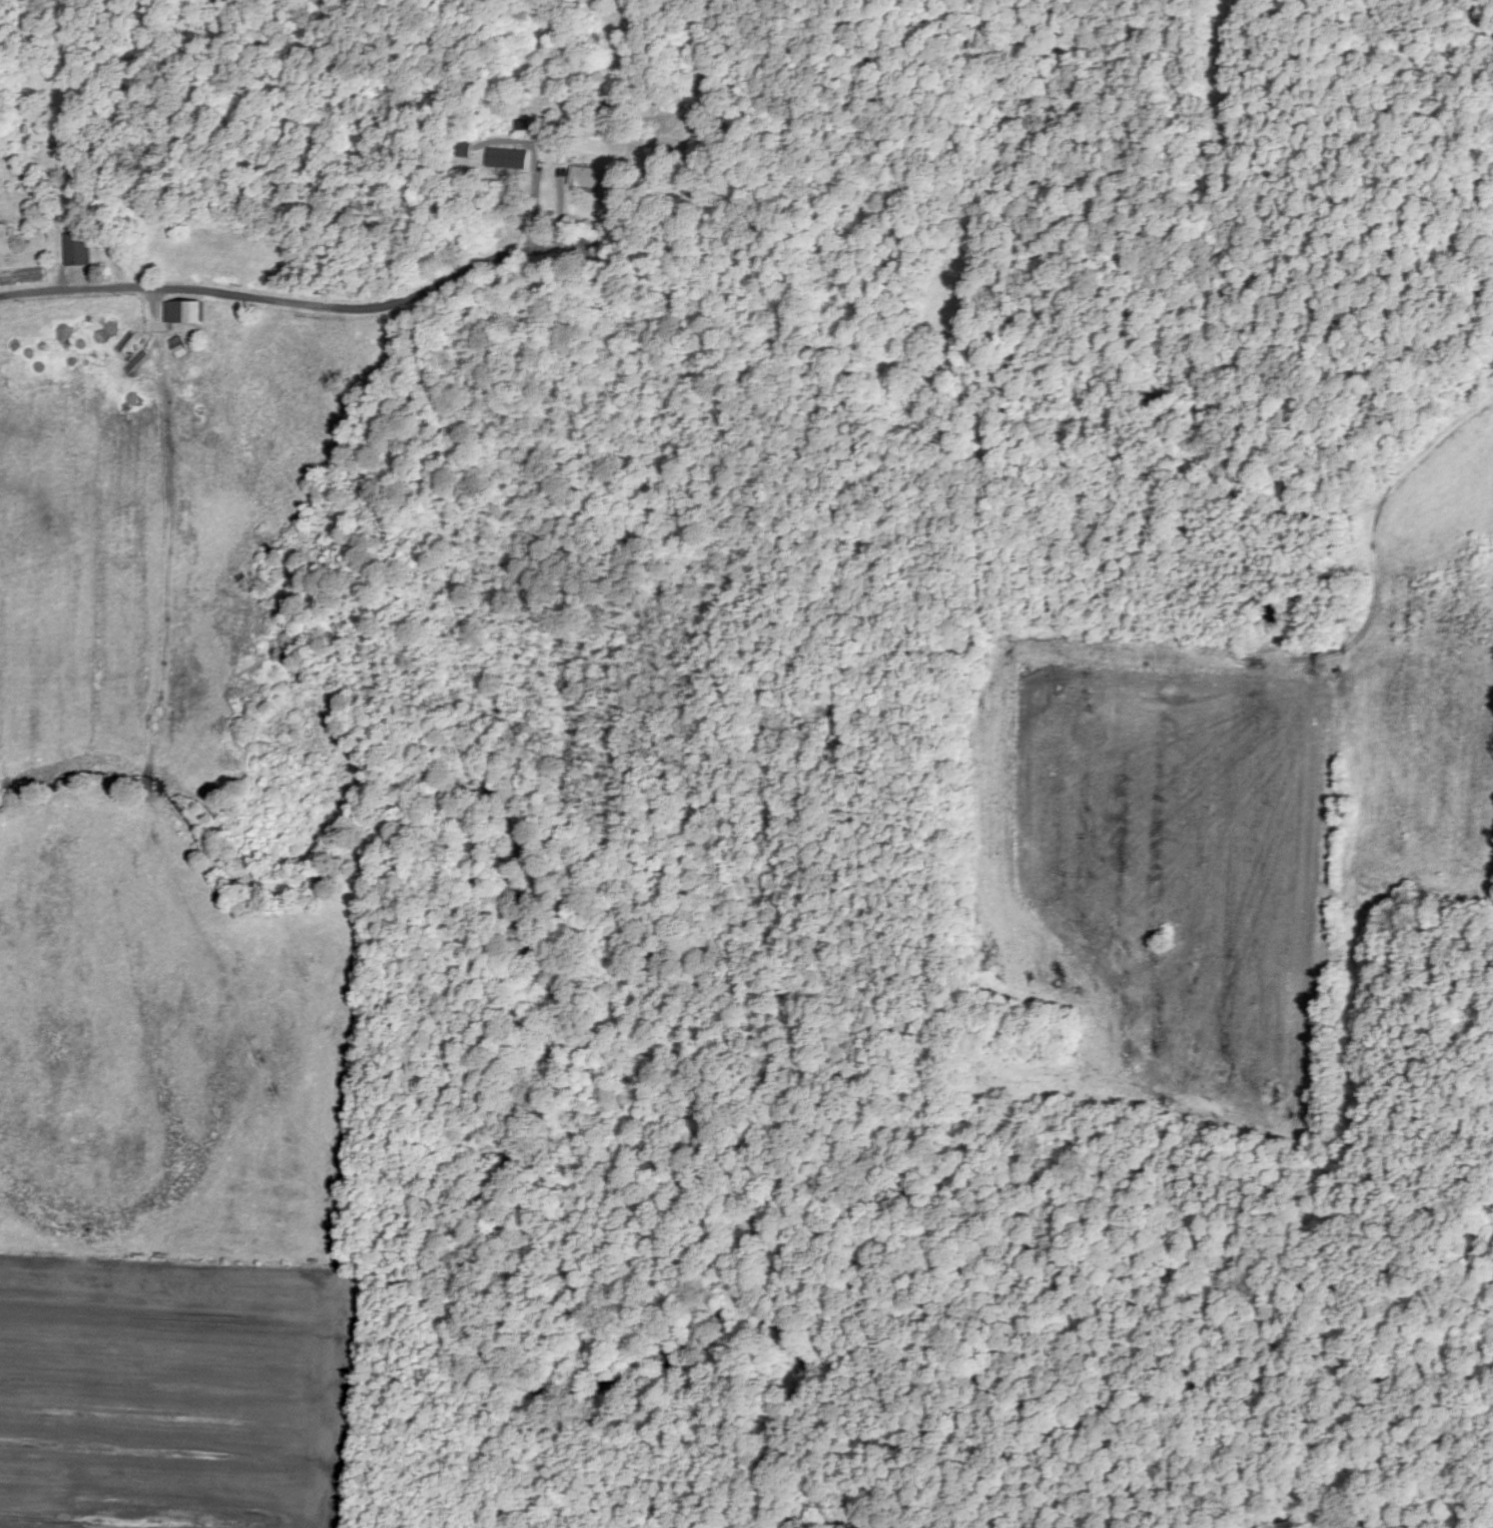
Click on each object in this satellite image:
building: (78, 252)
road: (307, 304)
building: (183, 313)

